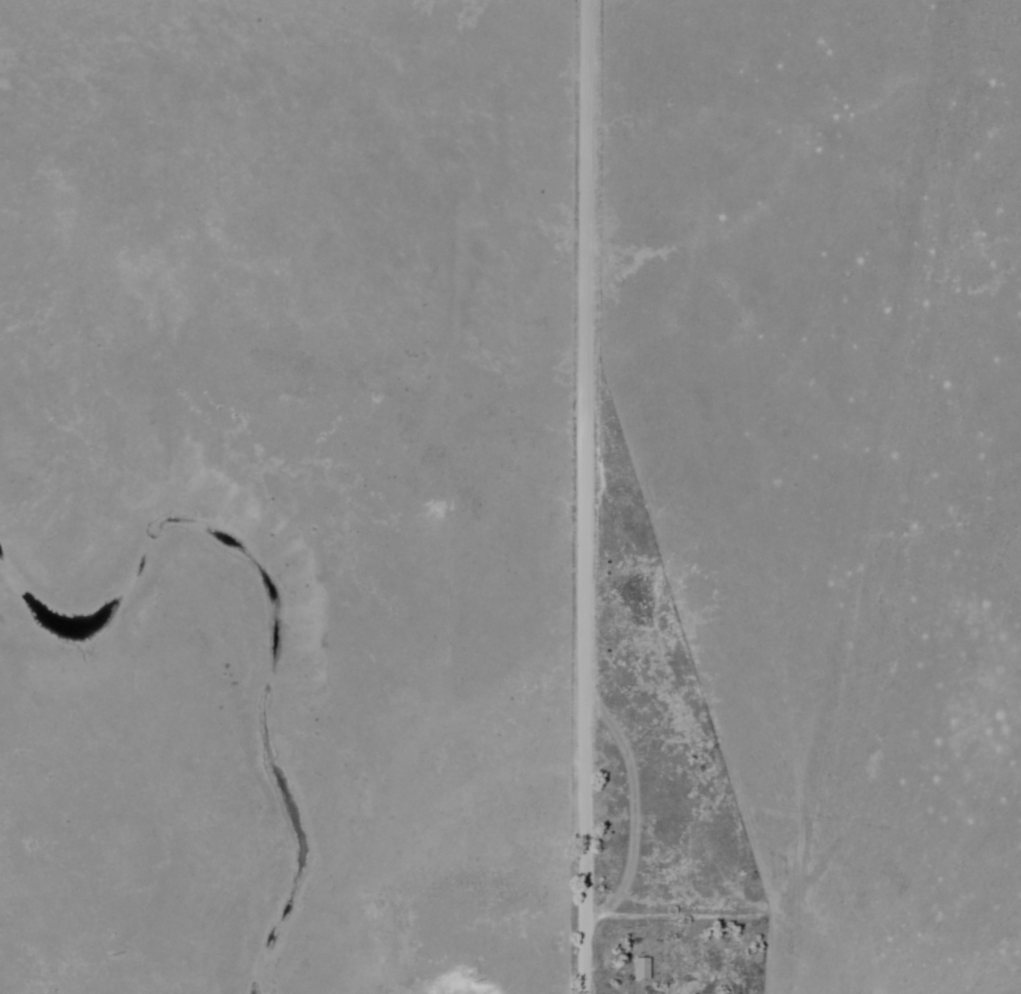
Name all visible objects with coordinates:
road: (636, 497)

